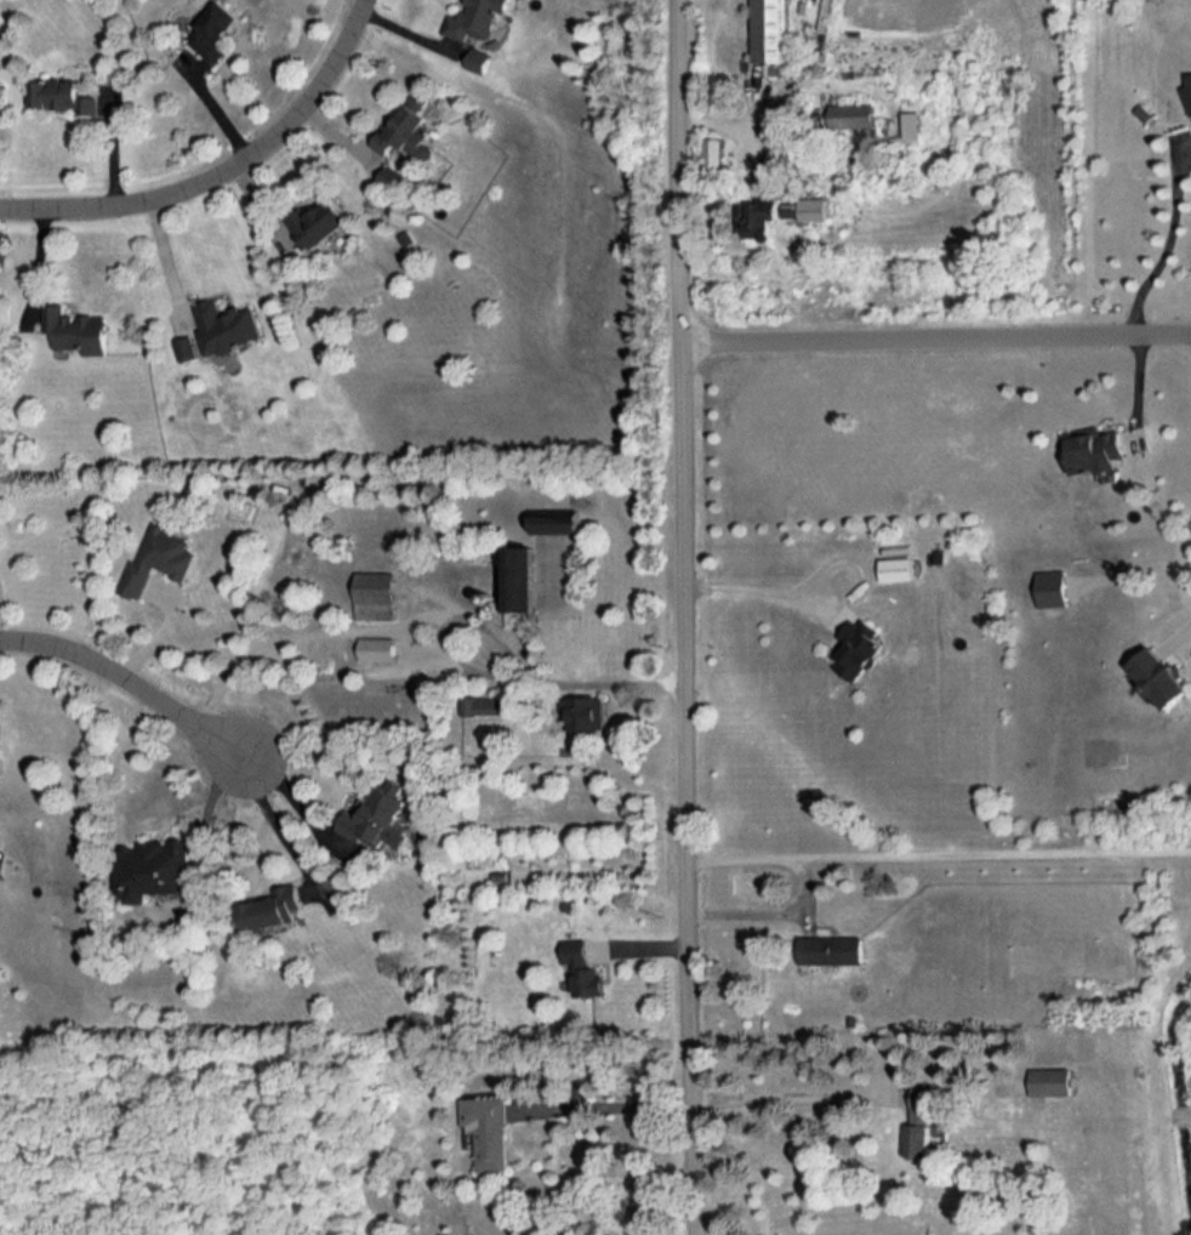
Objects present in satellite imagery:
building: (473, 18)
building: (213, 30)
building: (773, 30)
building: (477, 59)
building: (1187, 92)
building: (59, 95)
building: (854, 114)
building: (912, 124)
building: (408, 129)
building: (714, 152)
road: (223, 175)
building: (392, 176)
building: (792, 209)
building: (814, 209)
building: (759, 217)
building: (317, 222)
road: (1167, 238)
building: (224, 325)
building: (76, 329)
road: (936, 336)
building: (186, 347)
building: (1092, 449)
building: (555, 520)
building: (158, 558)
building: (896, 568)
building: (519, 577)
building: (1050, 587)
road: (757, 590)
building: (376, 593)
road: (434, 616)
road: (685, 617)
building: (377, 647)
building: (855, 647)
road: (471, 665)
building: (1161, 676)
road: (136, 682)
building: (485, 705)
building: (585, 712)
road: (303, 808)
building: (378, 816)
road: (286, 831)
road: (940, 854)
building: (152, 867)
building: (272, 907)
road: (775, 910)
building: (832, 949)
building: (582, 968)
building: (1050, 1080)
road: (791, 1097)
road: (608, 1105)
building: (919, 1121)
building: (486, 1129)

